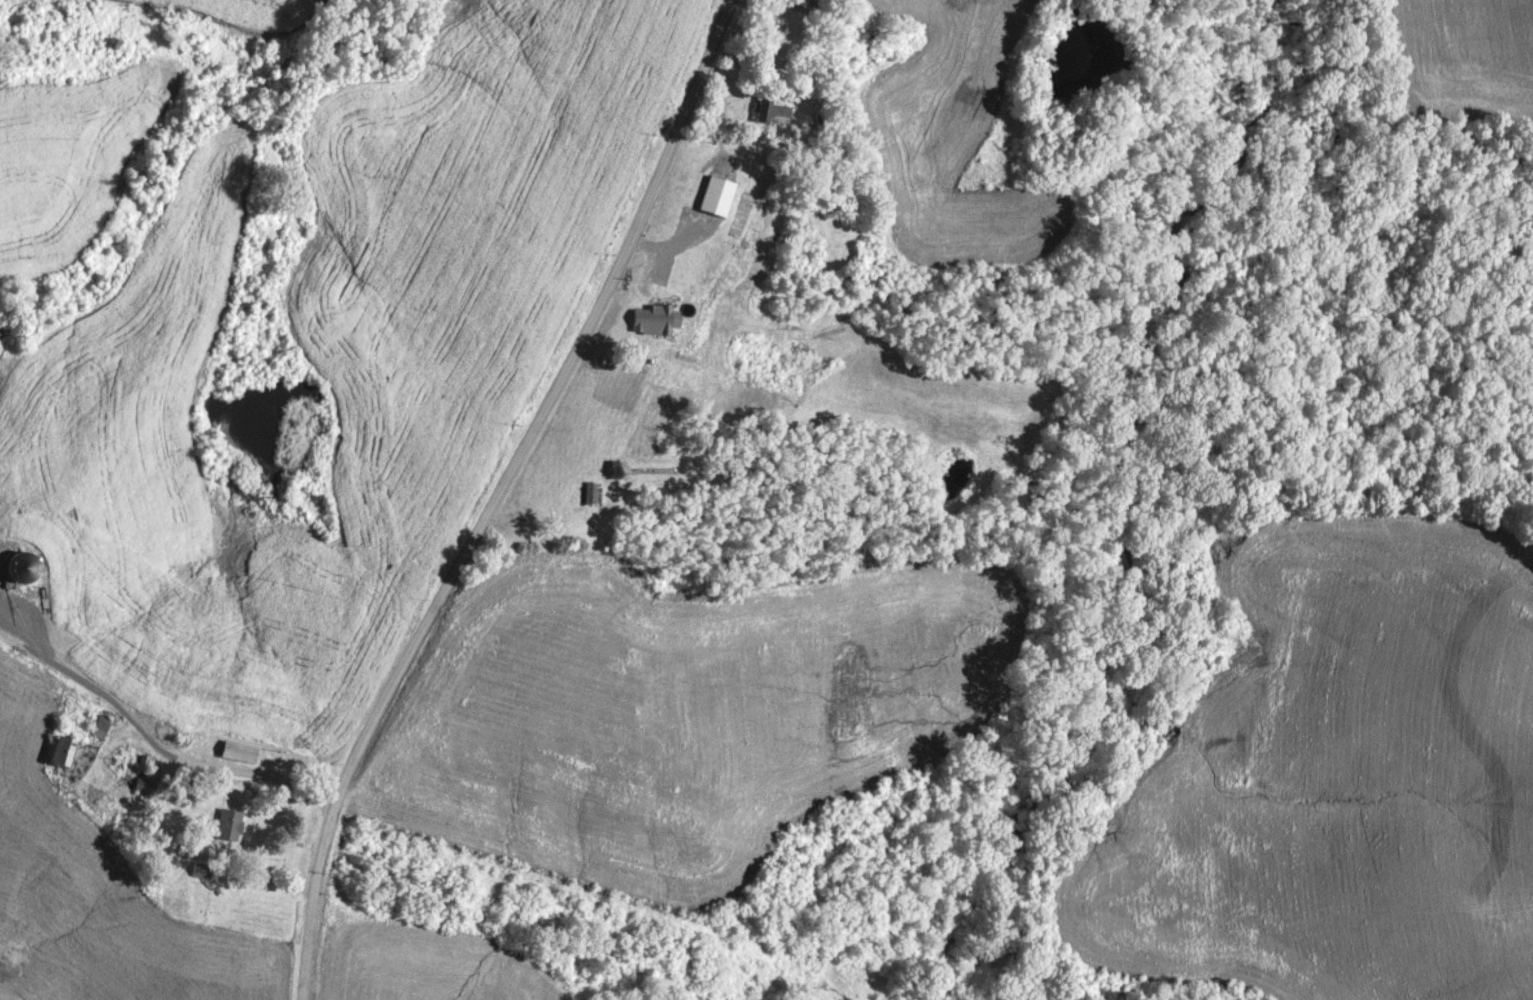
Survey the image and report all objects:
building: (780, 111)
building: (723, 196)
building: (843, 209)
building: (653, 319)
road: (500, 492)
building: (597, 493)
building: (106, 726)
road: (161, 749)
building: (69, 750)
building: (245, 751)
building: (149, 786)
building: (234, 824)
building: (207, 870)

